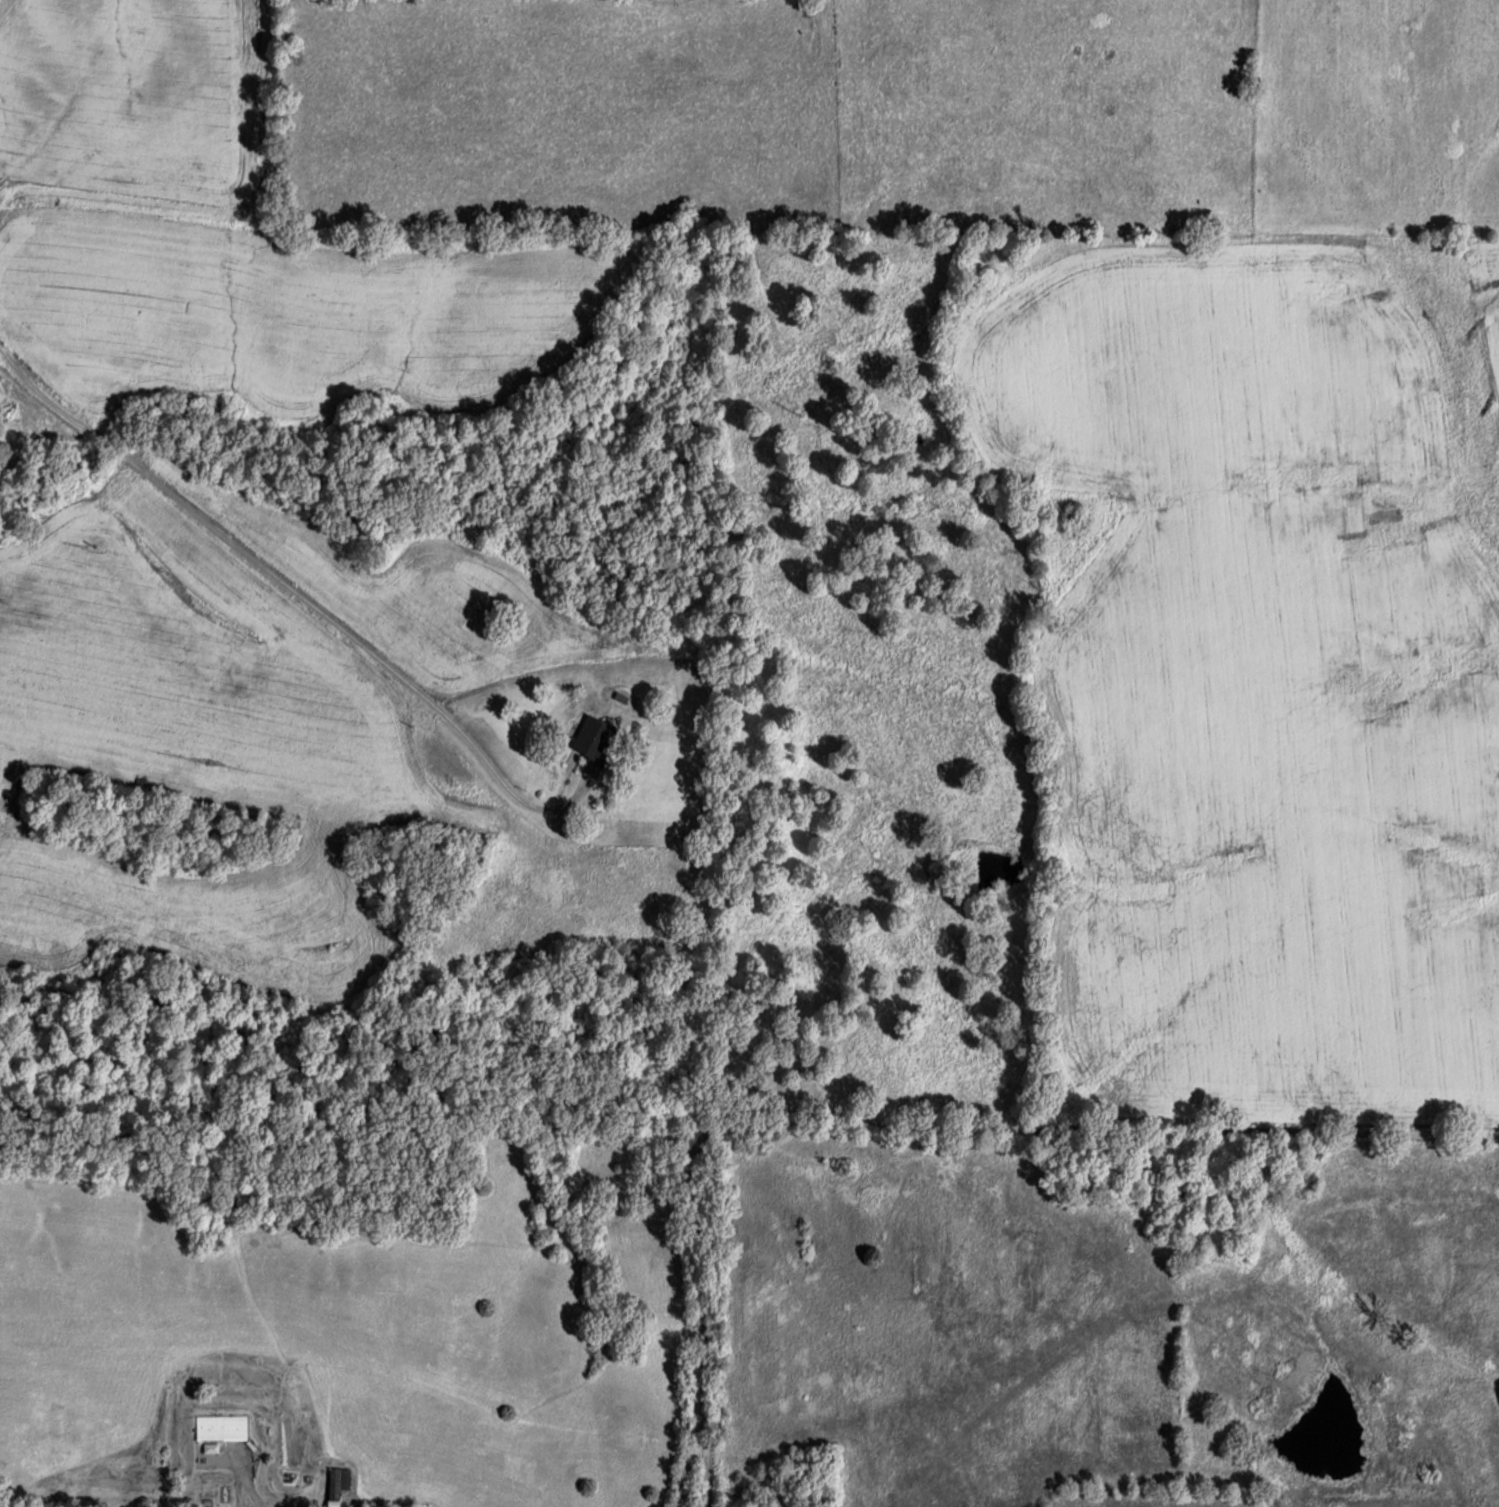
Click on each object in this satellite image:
building: (590, 736)
road: (1086, 1149)
road: (343, 1176)
road: (685, 1344)
building: (221, 1426)
building: (334, 1484)

